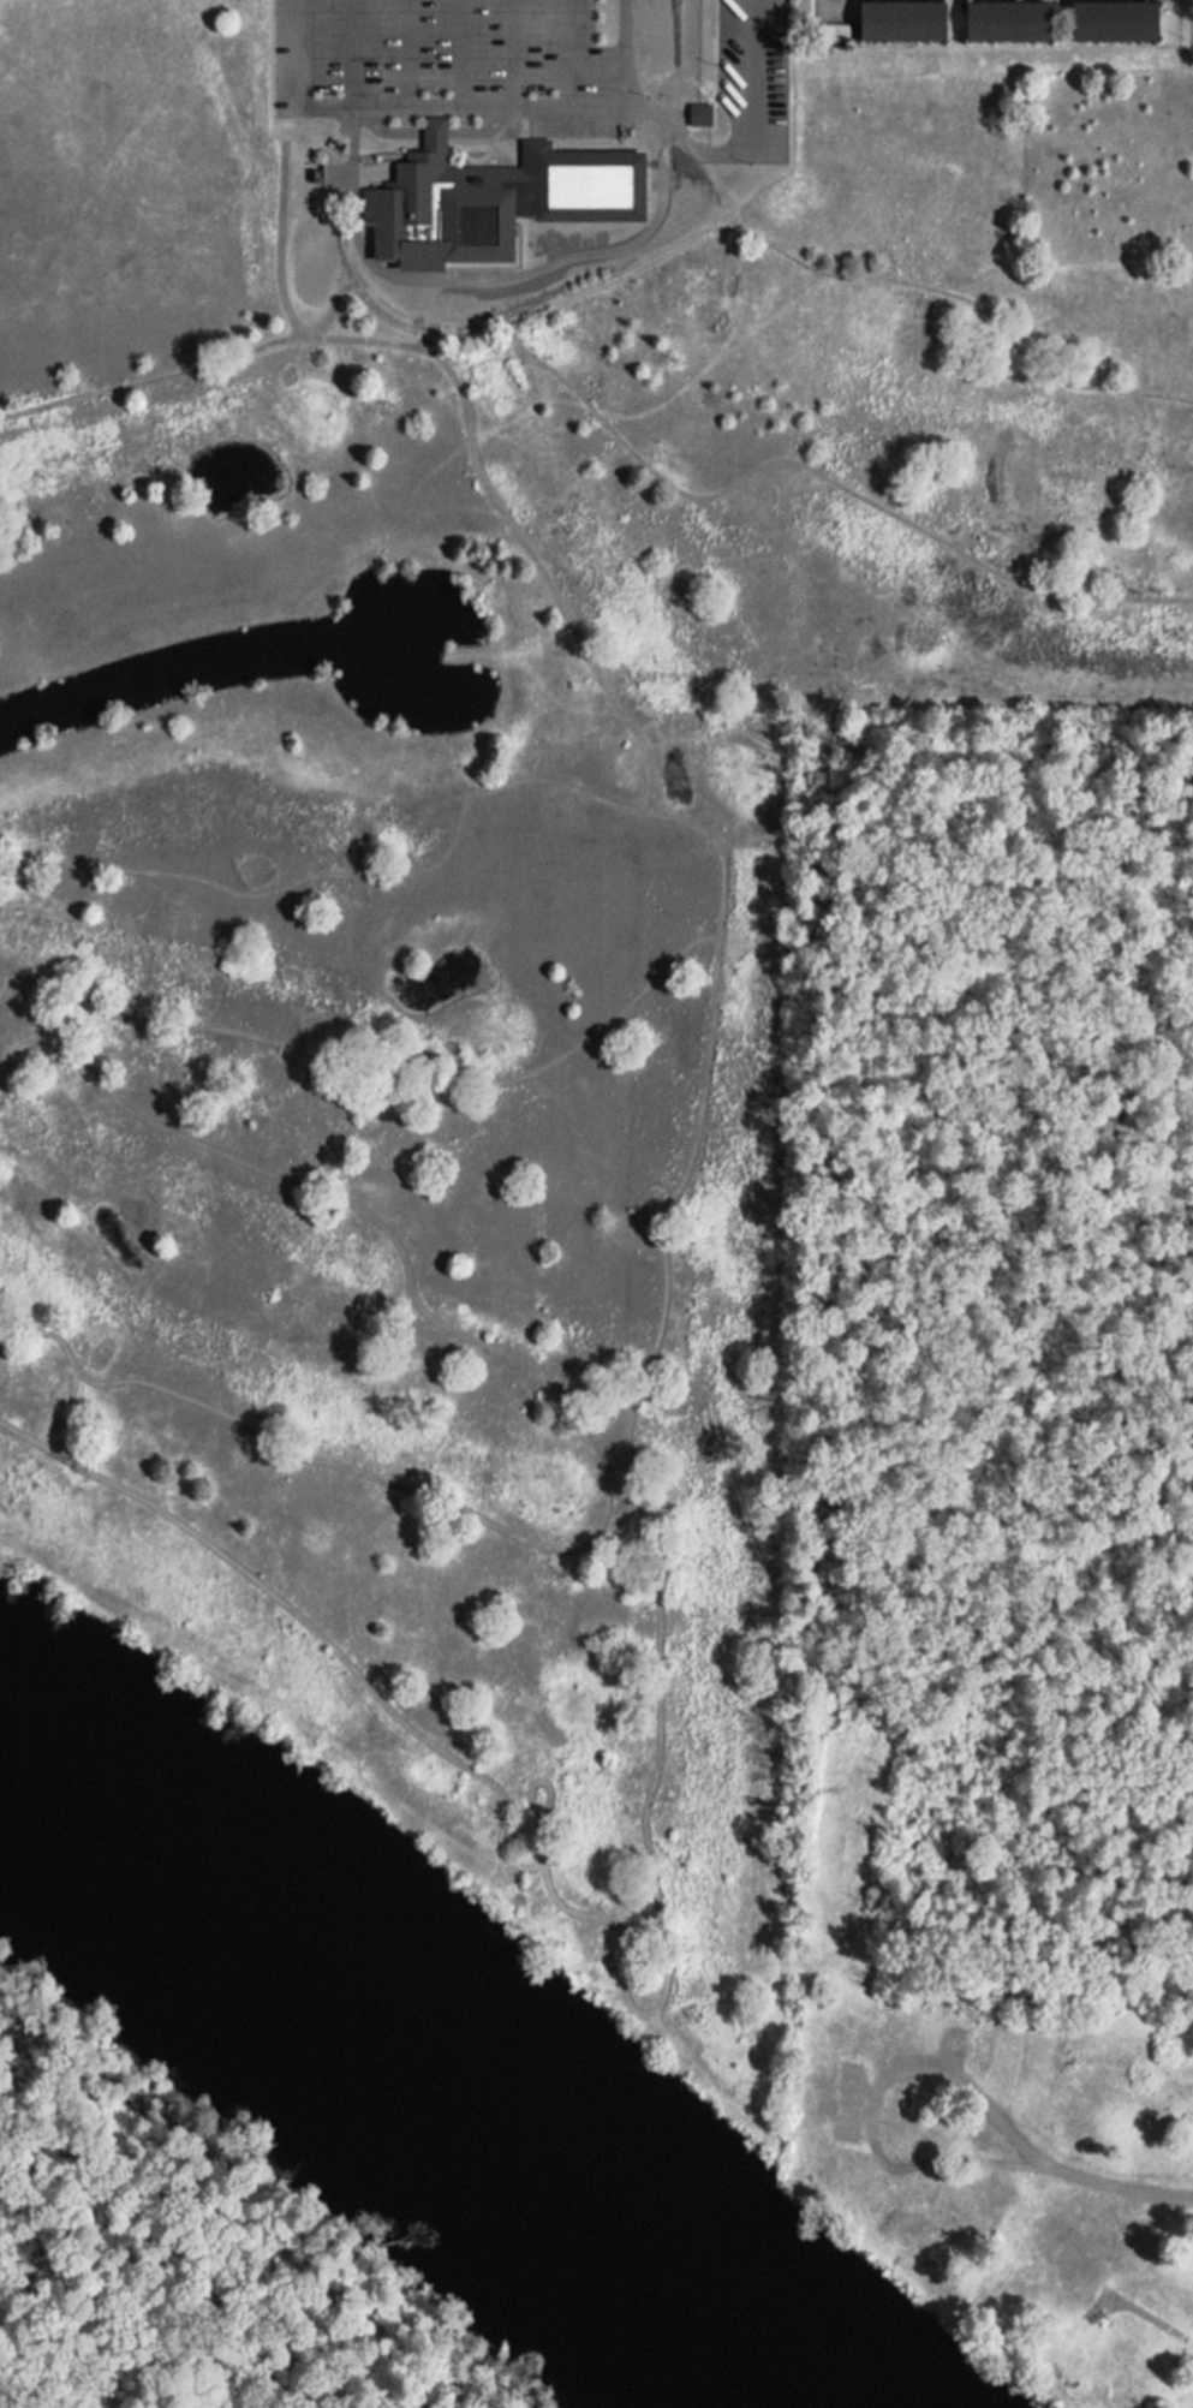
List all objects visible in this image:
building: (806, 11)
building: (1014, 22)
road: (581, 23)
parking lot: (494, 77)
building: (508, 196)
road: (282, 274)
road: (489, 275)
road: (358, 280)
road: (960, 296)
road: (423, 306)
road: (366, 340)
road: (473, 341)
road: (428, 347)
road: (437, 352)
road: (155, 380)
road: (799, 463)
road: (545, 574)
road: (649, 811)
road: (465, 813)
park: (478, 869)
road: (151, 871)
road: (467, 1080)
road: (673, 1202)
road: (356, 1206)
road: (322, 1460)
park: (989, 1503)
road: (286, 1604)
road: (547, 1814)
road: (649, 1847)
building: (1008, 2054)
river: (399, 2099)
building: (851, 2105)
road: (1175, 2195)
building: (906, 2229)
road: (219, 2245)

